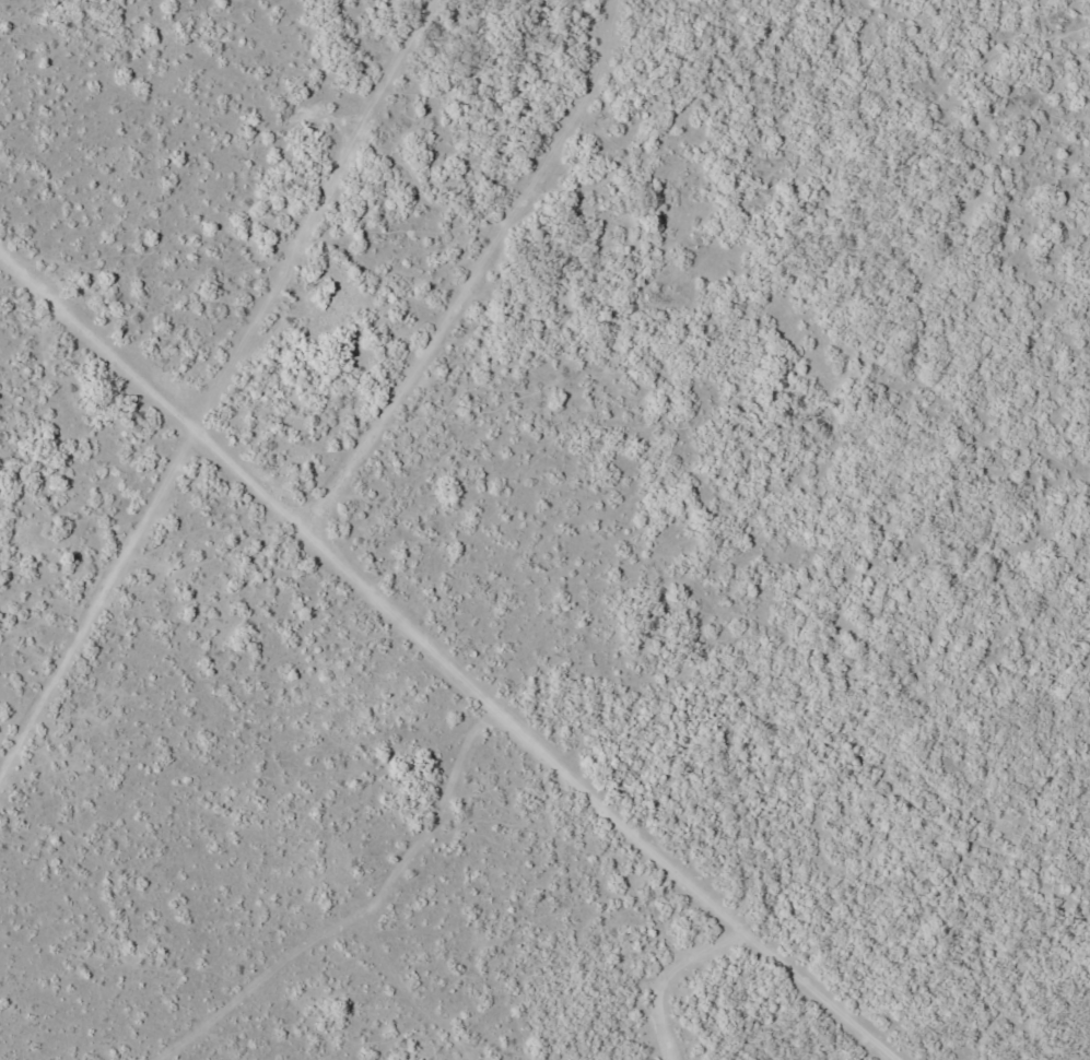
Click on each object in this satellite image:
road: (437, 662)

